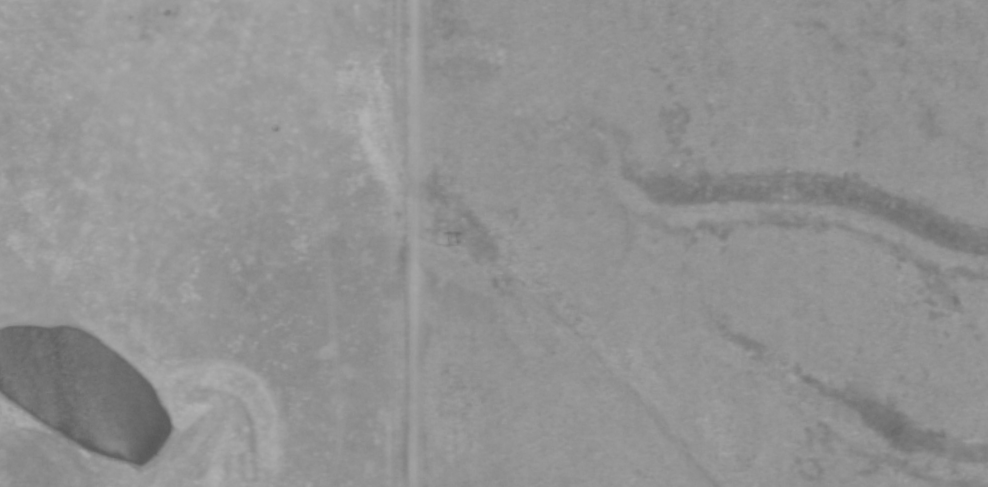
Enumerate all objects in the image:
power tower: (452, 246)

